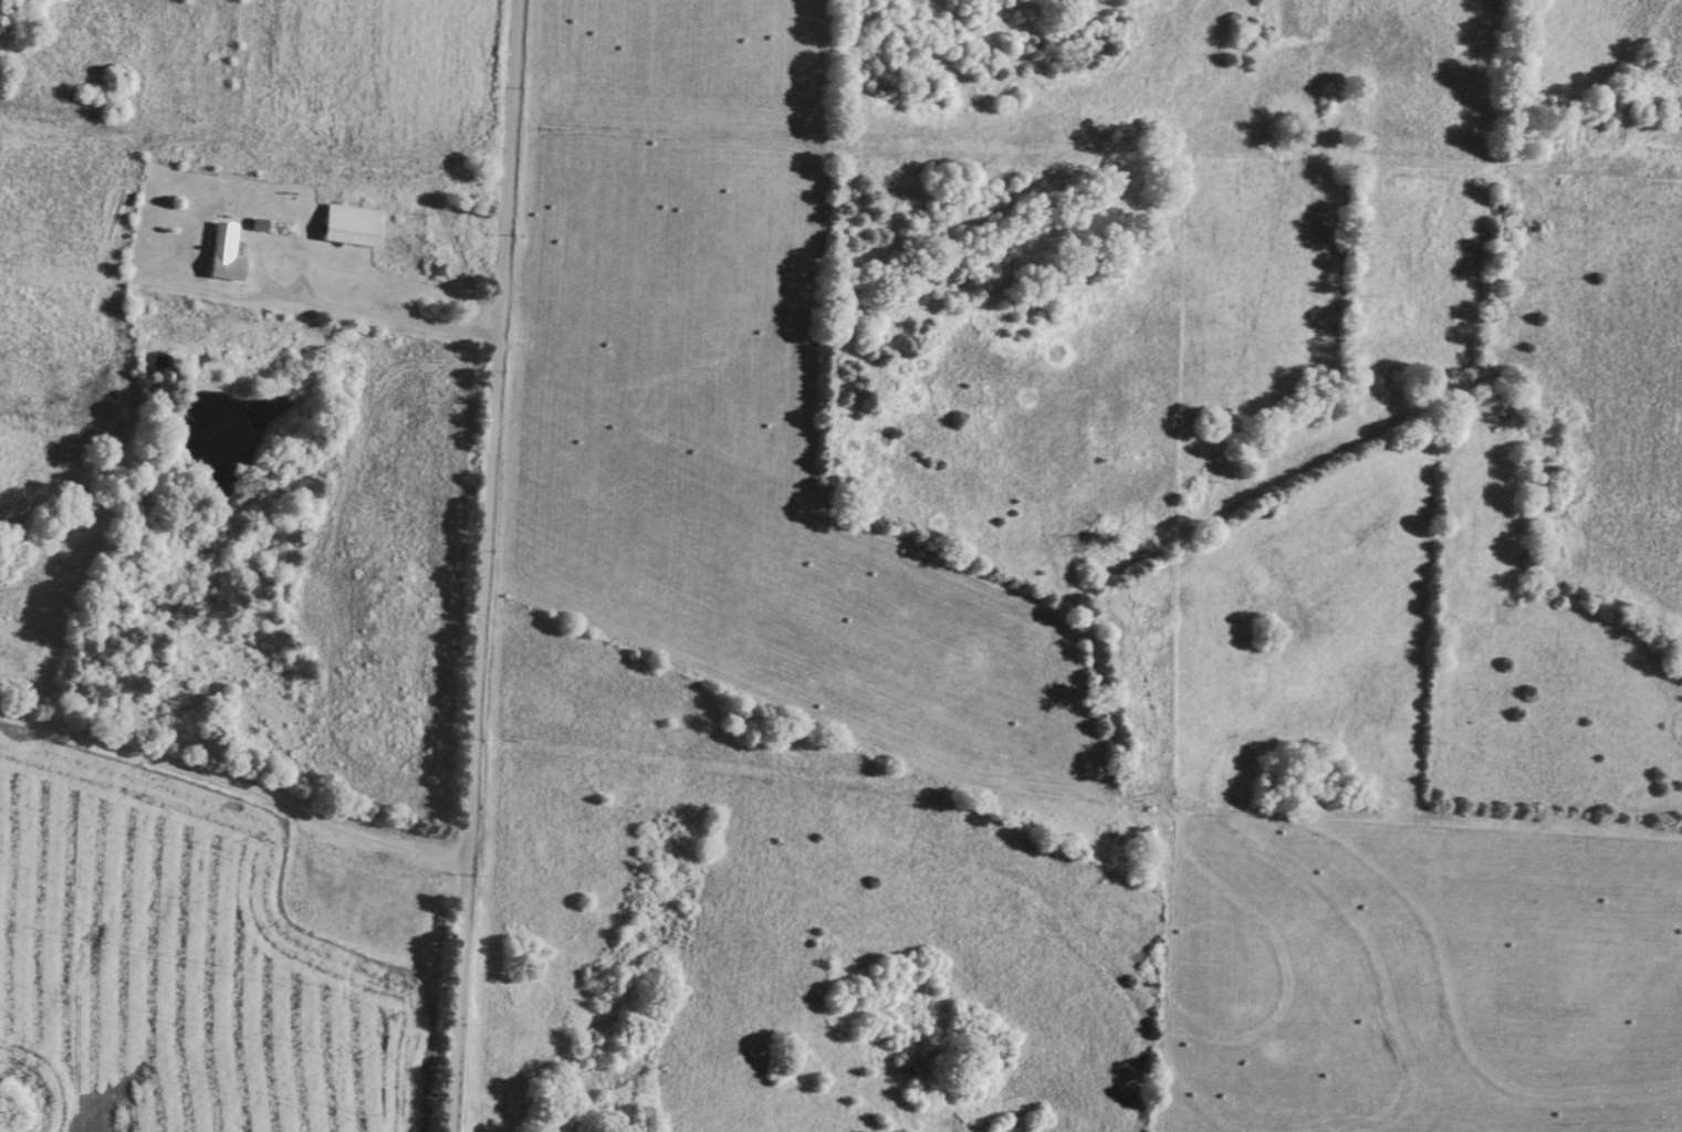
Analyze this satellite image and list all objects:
building: (347, 227)
building: (221, 255)
road: (374, 314)
road: (488, 566)
road: (236, 785)

